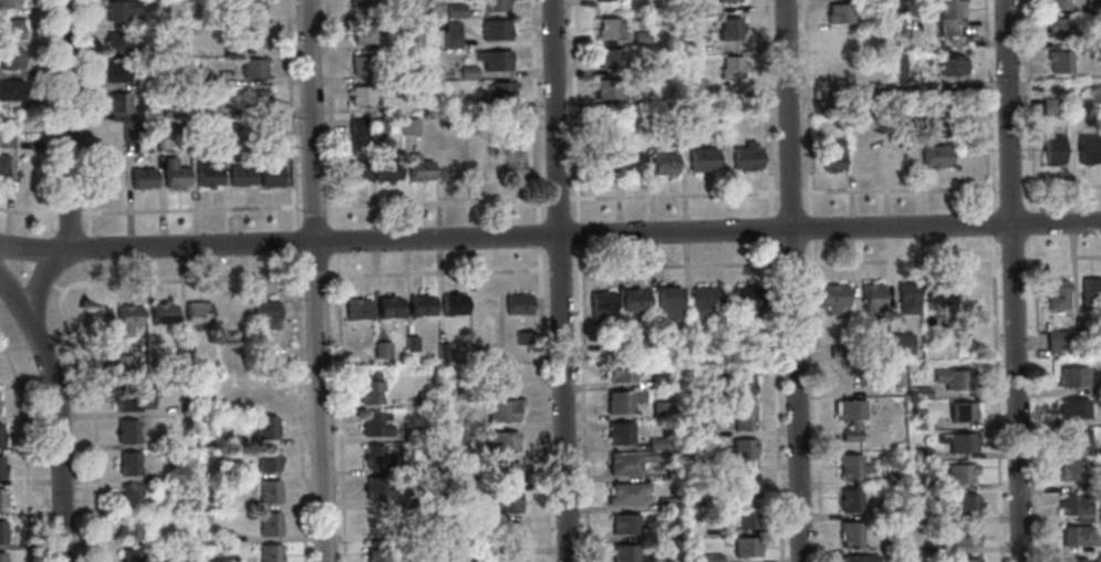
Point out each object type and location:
building: (606, 0)
building: (726, 0)
building: (8, 3)
building: (496, 4)
building: (1055, 4)
building: (361, 6)
building: (1091, 7)
building: (250, 8)
building: (120, 9)
building: (455, 9)
building: (838, 13)
building: (879, 21)
building: (948, 23)
building: (450, 27)
building: (609, 28)
building: (728, 28)
building: (1058, 28)
building: (11, 29)
building: (495, 29)
building: (364, 34)
building: (640, 37)
building: (250, 38)
building: (451, 39)
building: (841, 39)
building: (1092, 39)
building: (116, 41)
building: (686, 48)
building: (145, 51)
building: (609, 58)
building: (11, 60)
building: (494, 60)
building: (1058, 61)
building: (362, 64)
building: (951, 64)
building: (729, 66)
building: (842, 66)
building: (253, 67)
building: (407, 67)
building: (640, 67)
building: (899, 67)
building: (467, 71)
building: (116, 73)
building: (685, 76)
building: (143, 80)
building: (605, 89)
building: (641, 89)
building: (885, 90)
building: (502, 91)
building: (11, 92)
building: (361, 95)
building: (256, 98)
road: (533, 98)
building: (117, 102)
building: (474, 103)
building: (1069, 104)
road: (1026, 105)
building: (1048, 105)
road: (986, 106)
road: (766, 107)
road: (807, 107)
building: (208, 108)
building: (827, 108)
road: (572, 111)
building: (739, 111)
building: (117, 116)
road: (84, 117)
building: (683, 117)
building: (513, 122)
building: (356, 126)
building: (374, 126)
building: (407, 126)
building: (160, 128)
building: (264, 129)
building: (129, 131)
building: (230, 131)
building: (7, 138)
building: (194, 138)
building: (1051, 148)
building: (1086, 148)
building: (831, 154)
building: (933, 155)
building: (745, 156)
building: (700, 157)
building: (511, 162)
building: (663, 162)
building: (453, 163)
building: (630, 163)
road: (66, 164)
building: (487, 164)
building: (418, 167)
building: (352, 169)
building: (386, 169)
building: (2, 170)
building: (110, 173)
building: (174, 174)
building: (208, 174)
building: (240, 175)
building: (271, 175)
building: (30, 176)
building: (143, 178)
road: (1060, 186)
road: (1008, 188)
road: (899, 189)
road: (789, 191)
road: (672, 195)
road: (555, 198)
road: (271, 205)
road: (1029, 218)
road: (990, 223)
road: (43, 226)
road: (809, 228)
road: (769, 229)
road: (550, 236)
road: (1029, 241)
road: (578, 244)
road: (87, 247)
road: (33, 249)
road: (27, 264)
road: (993, 269)
road: (89, 271)
road: (442, 272)
road: (40, 277)
road: (559, 280)
road: (791, 280)
road: (1011, 280)
road: (294, 281)
road: (314, 281)
road: (333, 281)
road: (56, 288)
building: (1090, 291)
building: (1056, 293)
building: (968, 294)
building: (830, 295)
building: (870, 298)
building: (905, 298)
building: (634, 299)
building: (745, 299)
building: (936, 299)
building: (703, 300)
building: (665, 302)
building: (517, 303)
building: (600, 303)
building: (420, 304)
building: (453, 304)
building: (387, 305)
building: (356, 308)
building: (233, 311)
building: (162, 313)
building: (195, 313)
building: (266, 313)
building: (94, 315)
building: (125, 319)
building: (523, 337)
building: (1079, 337)
building: (1055, 340)
building: (689, 341)
building: (656, 342)
building: (409, 343)
building: (897, 343)
building: (184, 344)
building: (381, 350)
building: (443, 351)
building: (838, 351)
building: (269, 354)
building: (97, 361)
building: (120, 363)
building: (619, 371)
building: (1071, 376)
building: (952, 377)
road: (541, 379)
building: (658, 381)
building: (498, 383)
building: (740, 383)
building: (1099, 384)
building: (368, 392)
building: (920, 393)
building: (267, 395)
building: (132, 396)
building: (425, 398)
building: (624, 400)
road: (813, 400)
road: (775, 402)
building: (846, 408)
building: (1071, 408)
building: (500, 409)
building: (659, 409)
road: (1035, 409)
building: (962, 410)
road: (58, 414)
road: (581, 415)
building: (741, 416)
building: (921, 423)
building: (373, 425)
building: (263, 427)
building: (702, 427)
building: (472, 429)
building: (126, 431)
building: (849, 431)
building: (619, 433)
road: (997, 433)
building: (1, 435)
building: (411, 435)
building: (1071, 439)
building: (957, 440)
building: (499, 441)
building: (655, 443)
road: (25, 448)
building: (744, 450)
building: (920, 454)
building: (376, 456)
building: (267, 458)
building: (627, 461)
building: (127, 464)
building: (411, 467)
building: (850, 467)
building: (1073, 469)
building: (0, 471)
building: (503, 471)
building: (236, 472)
building: (673, 472)
building: (958, 472)
building: (892, 477)
building: (1100, 482)
building: (741, 483)
building: (924, 483)
building: (374, 487)
building: (706, 490)
building: (268, 491)
building: (467, 492)
building: (625, 492)
building: (133, 496)
building: (1, 498)
building: (849, 499)
building: (505, 501)
building: (666, 502)
building: (964, 503)
building: (186, 506)
building: (1074, 506)
building: (892, 511)
building: (742, 517)
building: (204, 518)
building: (381, 520)
building: (268, 523)
building: (624, 523)
building: (458, 525)
building: (129, 528)
building: (1, 531)
building: (505, 532)
building: (849, 533)
building: (1077, 534)
building: (963, 535)
building: (221, 537)
building: (744, 545)
building: (885, 545)
building: (375, 551)
building: (268, 552)
building: (623, 552)
building: (128, 555)
building: (1, 556)
building: (507, 558)
building: (712, 558)
building: (858, 558)
building: (221, 560)
building: (675, 560)
building: (962, 560)
building: (1073, 560)

